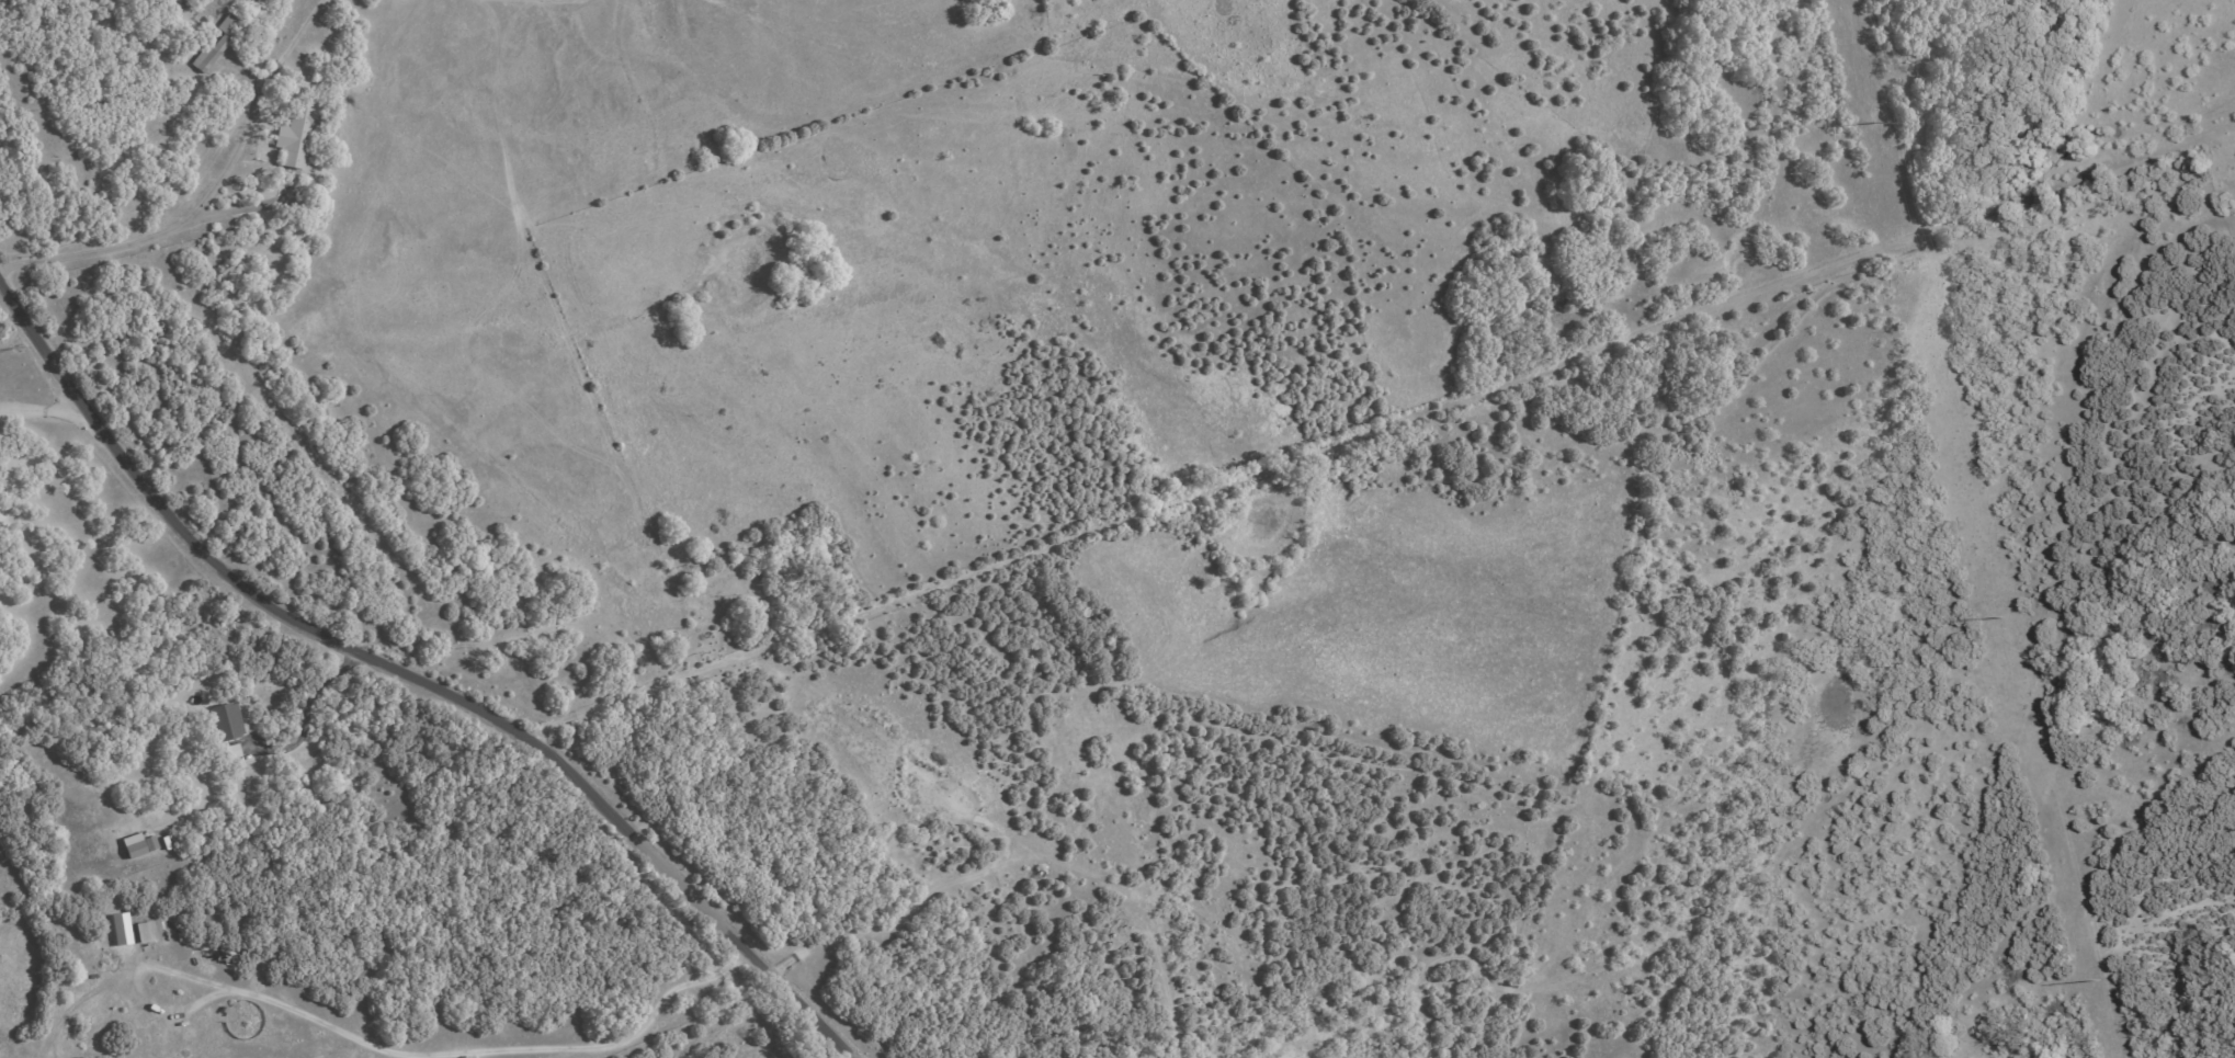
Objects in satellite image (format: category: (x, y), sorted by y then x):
road: (297, 38)
power tower: (1873, 123)
building: (296, 138)
road: (174, 228)
road: (43, 411)
road: (1372, 433)
power tower: (2003, 617)
road: (412, 679)
building: (226, 721)
building: (138, 845)
building: (121, 930)
power tower: (2098, 979)
road: (388, 1053)

